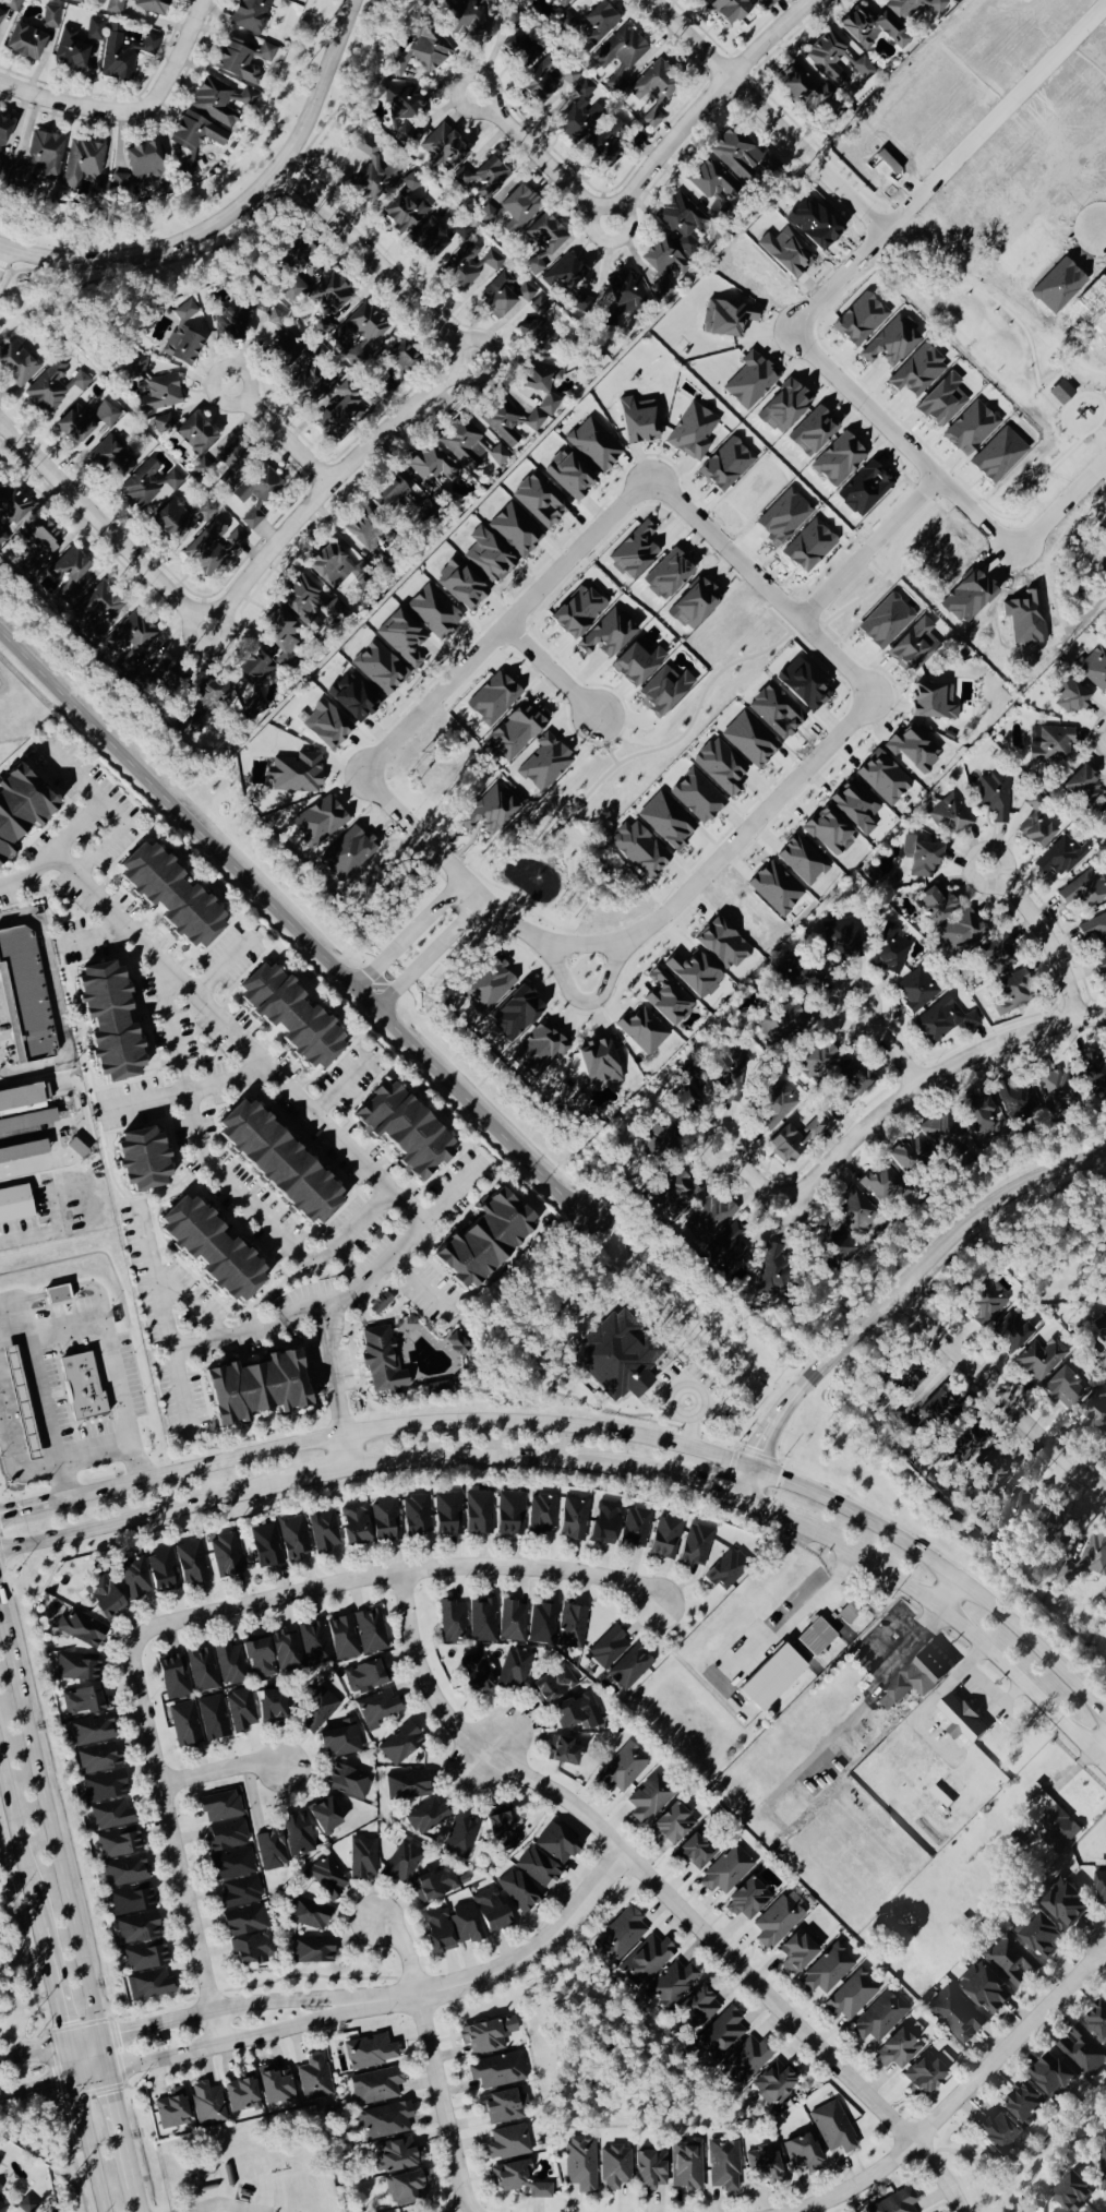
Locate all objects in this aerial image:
building: (74, 0)
building: (292, 0)
building: (702, 0)
building: (562, 2)
building: (11, 4)
building: (766, 4)
building: (115, 7)
building: (730, 10)
building: (1, 13)
building: (250, 15)
building: (50, 16)
building: (470, 17)
building: (594, 24)
building: (868, 27)
building: (24, 43)
building: (519, 47)
building: (621, 49)
building: (419, 51)
building: (123, 53)
building: (242, 57)
building: (835, 59)
building: (544, 80)
building: (615, 82)
building: (653, 89)
building: (802, 89)
road: (705, 99)
building: (221, 101)
building: (400, 110)
road: (131, 111)
building: (580, 115)
road: (766, 115)
building: (3, 131)
building: (190, 141)
building: (603, 145)
building: (443, 148)
road: (538, 153)
building: (740, 156)
building: (81, 163)
road: (945, 166)
building: (370, 174)
building: (481, 177)
building: (712, 187)
building: (509, 210)
road: (233, 212)
building: (400, 214)
road: (251, 219)
road: (625, 220)
building: (682, 223)
road: (590, 228)
road: (1099, 236)
building: (542, 241)
road: (2, 255)
road: (370, 258)
building: (470, 265)
building: (563, 273)
building: (289, 278)
building: (505, 292)
building: (623, 298)
building: (327, 300)
building: (539, 307)
building: (728, 318)
building: (859, 320)
building: (228, 323)
building: (359, 335)
road: (478, 340)
building: (891, 342)
building: (180, 348)
building: (280, 351)
building: (401, 358)
building: (16, 363)
building: (538, 369)
building: (917, 372)
road: (476, 375)
building: (749, 381)
building: (312, 385)
building: (52, 387)
building: (159, 395)
building: (338, 415)
building: (536, 418)
building: (503, 421)
building: (637, 421)
building: (83, 423)
building: (164, 425)
building: (971, 428)
building: (692, 432)
building: (194, 434)
road: (278, 434)
road: (895, 440)
building: (469, 445)
building: (593, 445)
building: (998, 456)
building: (110, 459)
building: (838, 461)
building: (225, 465)
building: (433, 465)
road: (328, 481)
building: (1, 483)
building: (147, 486)
building: (256, 495)
building: (394, 501)
building: (541, 501)
road: (1059, 502)
building: (11, 506)
building: (179, 517)
road: (99, 526)
building: (365, 530)
building: (515, 530)
building: (231, 536)
building: (40, 537)
road: (866, 548)
building: (205, 551)
building: (633, 553)
building: (488, 557)
building: (334, 565)
building: (668, 575)
road: (762, 584)
building: (460, 586)
building: (300, 599)
building: (693, 606)
building: (433, 612)
building: (576, 612)
building: (97, 613)
road: (505, 624)
road: (227, 630)
building: (606, 635)
building: (279, 638)
building: (401, 638)
building: (127, 642)
road: (193, 642)
building: (913, 646)
building: (637, 662)
road: (552, 669)
building: (1094, 669)
building: (165, 675)
building: (251, 684)
building: (663, 691)
building: (1069, 697)
building: (933, 703)
building: (201, 709)
building: (325, 726)
building: (515, 731)
road: (685, 733)
road: (604, 740)
building: (749, 741)
building: (1050, 745)
building: (544, 764)
building: (720, 767)
building: (296, 774)
building: (882, 778)
road: (82, 784)
building: (1081, 786)
building: (696, 798)
building: (995, 798)
building: (20, 806)
building: (855, 806)
building: (490, 812)
building: (948, 816)
building: (1102, 816)
building: (322, 821)
building: (665, 822)
building: (1037, 829)
building: (829, 833)
road: (557, 837)
road: (737, 838)
road: (53, 850)
building: (639, 850)
road: (99, 852)
building: (1061, 857)
building: (919, 860)
building: (802, 861)
road: (465, 877)
building: (1084, 890)
building: (169, 897)
road: (518, 899)
building: (935, 905)
road: (291, 925)
building: (1095, 932)
road: (411, 933)
building: (961, 933)
road: (93, 936)
road: (1043, 936)
building: (842, 942)
building: (722, 945)
road: (429, 950)
building: (889, 950)
building: (996, 958)
road: (223, 962)
building: (1101, 965)
road: (610, 973)
road: (561, 975)
building: (694, 975)
building: (804, 980)
building: (489, 985)
building: (916, 990)
building: (1012, 994)
building: (24, 996)
building: (666, 999)
road: (55, 1004)
building: (515, 1014)
building: (290, 1018)
building: (942, 1021)
building: (107, 1024)
building: (784, 1024)
building: (642, 1031)
road: (236, 1039)
road: (886, 1044)
building: (540, 1049)
building: (597, 1062)
building: (822, 1063)
building: (731, 1065)
building: (1089, 1074)
road: (344, 1084)
building: (1050, 1086)
building: (847, 1089)
road: (187, 1092)
building: (21, 1098)
building: (682, 1101)
building: (1015, 1101)
road: (890, 1105)
building: (774, 1107)
building: (977, 1114)
building: (27, 1122)
road: (83, 1123)
building: (404, 1132)
road: (39, 1133)
building: (796, 1137)
building: (943, 1137)
building: (658, 1143)
building: (23, 1152)
building: (907, 1156)
building: (140, 1161)
building: (277, 1165)
road: (224, 1180)
building: (881, 1185)
building: (14, 1201)
road: (52, 1205)
building: (853, 1212)
building: (710, 1220)
road: (408, 1235)
road: (29, 1237)
road: (974, 1239)
building: (481, 1242)
building: (838, 1246)
building: (209, 1251)
building: (725, 1254)
building: (770, 1270)
road: (422, 1283)
building: (57, 1294)
road: (889, 1295)
road: (321, 1303)
road: (931, 1303)
building: (986, 1303)
building: (380, 1304)
road: (194, 1306)
road: (164, 1319)
building: (1011, 1332)
road: (245, 1334)
road: (326, 1341)
building: (455, 1349)
road: (108, 1350)
building: (616, 1359)
building: (381, 1361)
building: (1037, 1361)
building: (906, 1384)
building: (82, 1385)
building: (436, 1388)
building: (255, 1389)
road: (334, 1389)
building: (1062, 1389)
road: (996, 1395)
building: (20, 1402)
building: (937, 1412)
building: (1094, 1414)
road: (48, 1416)
road: (612, 1437)
building: (962, 1444)
road: (344, 1454)
traffic signals: (750, 1470)
road: (37, 1471)
building: (990, 1473)
road: (314, 1478)
traffic signals: (741, 1503)
building: (1024, 1508)
road: (20, 1511)
building: (477, 1512)
road: (767, 1514)
building: (508, 1515)
traffic signals: (0, 1516)
building: (446, 1516)
road: (141, 1517)
building: (416, 1517)
building: (541, 1518)
building: (573, 1519)
building: (385, 1521)
building: (603, 1525)
building: (353, 1527)
building: (635, 1528)
building: (1062, 1532)
building: (323, 1533)
building: (664, 1538)
building: (292, 1539)
building: (266, 1546)
building: (695, 1546)
building: (225, 1557)
building: (1087, 1558)
building: (190, 1564)
building: (726, 1570)
building: (161, 1571)
road: (398, 1575)
building: (132, 1580)
building: (104, 1600)
road: (952, 1602)
road: (798, 1609)
building: (481, 1618)
building: (453, 1622)
building: (512, 1622)
building: (541, 1624)
building: (569, 1626)
building: (77, 1629)
building: (369, 1631)
building: (342, 1638)
building: (815, 1638)
building: (314, 1645)
building: (608, 1648)
building: (286, 1651)
building: (257, 1658)
building: (228, 1664)
building: (76, 1666)
building: (629, 1669)
building: (188, 1673)
building: (495, 1673)
building: (364, 1677)
building: (771, 1677)
building: (913, 1681)
building: (552, 1685)
building: (81, 1701)
building: (253, 1709)
building: (376, 1709)
building: (316, 1710)
building: (574, 1710)
road: (857, 1711)
building: (213, 1718)
building: (961, 1720)
building: (184, 1724)
building: (589, 1724)
building: (87, 1731)
building: (340, 1739)
building: (400, 1744)
building: (563, 1751)
road: (1098, 1751)
road: (491, 1758)
building: (98, 1759)
building: (623, 1769)
road: (221, 1771)
building: (347, 1782)
building: (406, 1785)
building: (104, 1786)
building: (649, 1798)
building: (219, 1807)
building: (110, 1816)
building: (324, 1816)
building: (425, 1816)
building: (673, 1824)
building: (502, 1830)
building: (1057, 1830)
building: (297, 1833)
building: (227, 1836)
building: (460, 1836)
road: (168, 1838)
building: (117, 1844)
building: (556, 1844)
road: (49, 1850)
building: (271, 1851)
building: (696, 1851)
building: (362, 1857)
building: (232, 1864)
building: (400, 1864)
road: (23, 1867)
building: (537, 1867)
building: (123, 1872)
building: (725, 1872)
building: (327, 1878)
building: (433, 1884)
building: (1101, 1886)
building: (518, 1890)
building: (239, 1892)
road: (670, 1896)
building: (130, 1900)
building: (747, 1900)
building: (1066, 1903)
building: (491, 1911)
building: (309, 1914)
building: (778, 1920)
building: (244, 1921)
building: (136, 1928)
building: (449, 1928)
building: (620, 1935)
building: (1039, 1936)
building: (251, 1949)
building: (311, 1950)
building: (796, 1952)
building: (144, 1957)
building: (646, 1961)
building: (1011, 1962)
road: (518, 1963)
building: (827, 1971)
building: (674, 1982)
building: (147, 1985)
building: (985, 1989)
building: (851, 1997)
road: (229, 2005)
road: (57, 2007)
building: (699, 2007)
building: (955, 2016)
building: (879, 2018)
building: (1097, 2020)
building: (486, 2035)
building: (719, 2035)
traffic signals: (91, 2036)
traffic signals: (67, 2044)
road: (224, 2044)
park: (600, 2044)
road: (45, 2048)
building: (898, 2049)
building: (369, 2053)
building: (1081, 2054)
building: (744, 2060)
road: (431, 2064)
building: (496, 2071)
traffic signals: (100, 2075)
building: (924, 2075)
building: (1051, 2076)
building: (314, 2079)
traffic signals: (74, 2080)
building: (774, 2083)
building: (274, 2085)
building: (375, 2087)
road: (37, 2088)
building: (241, 2094)
road: (958, 2102)
building: (206, 2103)
building: (1024, 2103)
road: (108, 2107)
building: (502, 2107)
building: (171, 2111)
building: (384, 2121)
road: (85, 2128)
building: (833, 2128)
building: (998, 2132)
building: (507, 2143)
building: (802, 2153)
building: (397, 2155)
building: (580, 2164)
building: (723, 2165)
building: (764, 2165)
building: (686, 2166)
building: (614, 2168)
building: (649, 2171)
building: (1103, 2171)
building: (510, 2175)
road: (123, 2176)
building: (0, 2188)
building: (406, 2188)
building: (540, 2191)
building: (1074, 2191)
building: (899, 2201)
building: (26, 2204)
road: (220, 2204)
building: (2, 2208)

